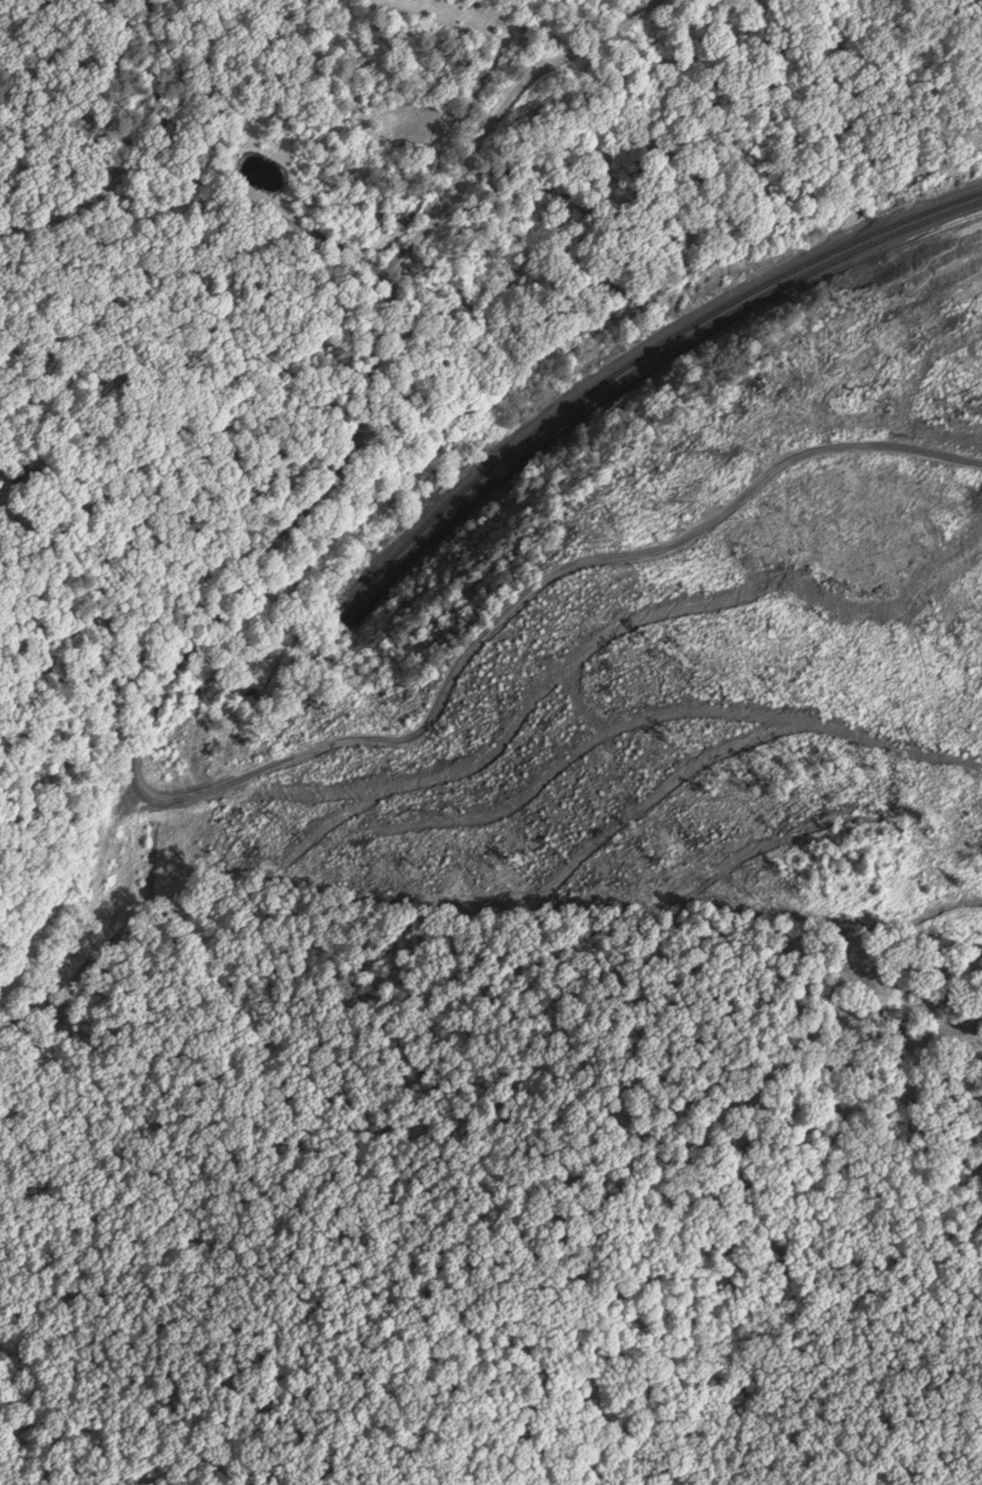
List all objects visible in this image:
road: (158, 89)
road: (496, 114)
road: (205, 183)
road: (70, 213)
railway: (635, 362)
railway: (638, 371)
road: (324, 747)
road: (86, 921)
road: (951, 1060)

